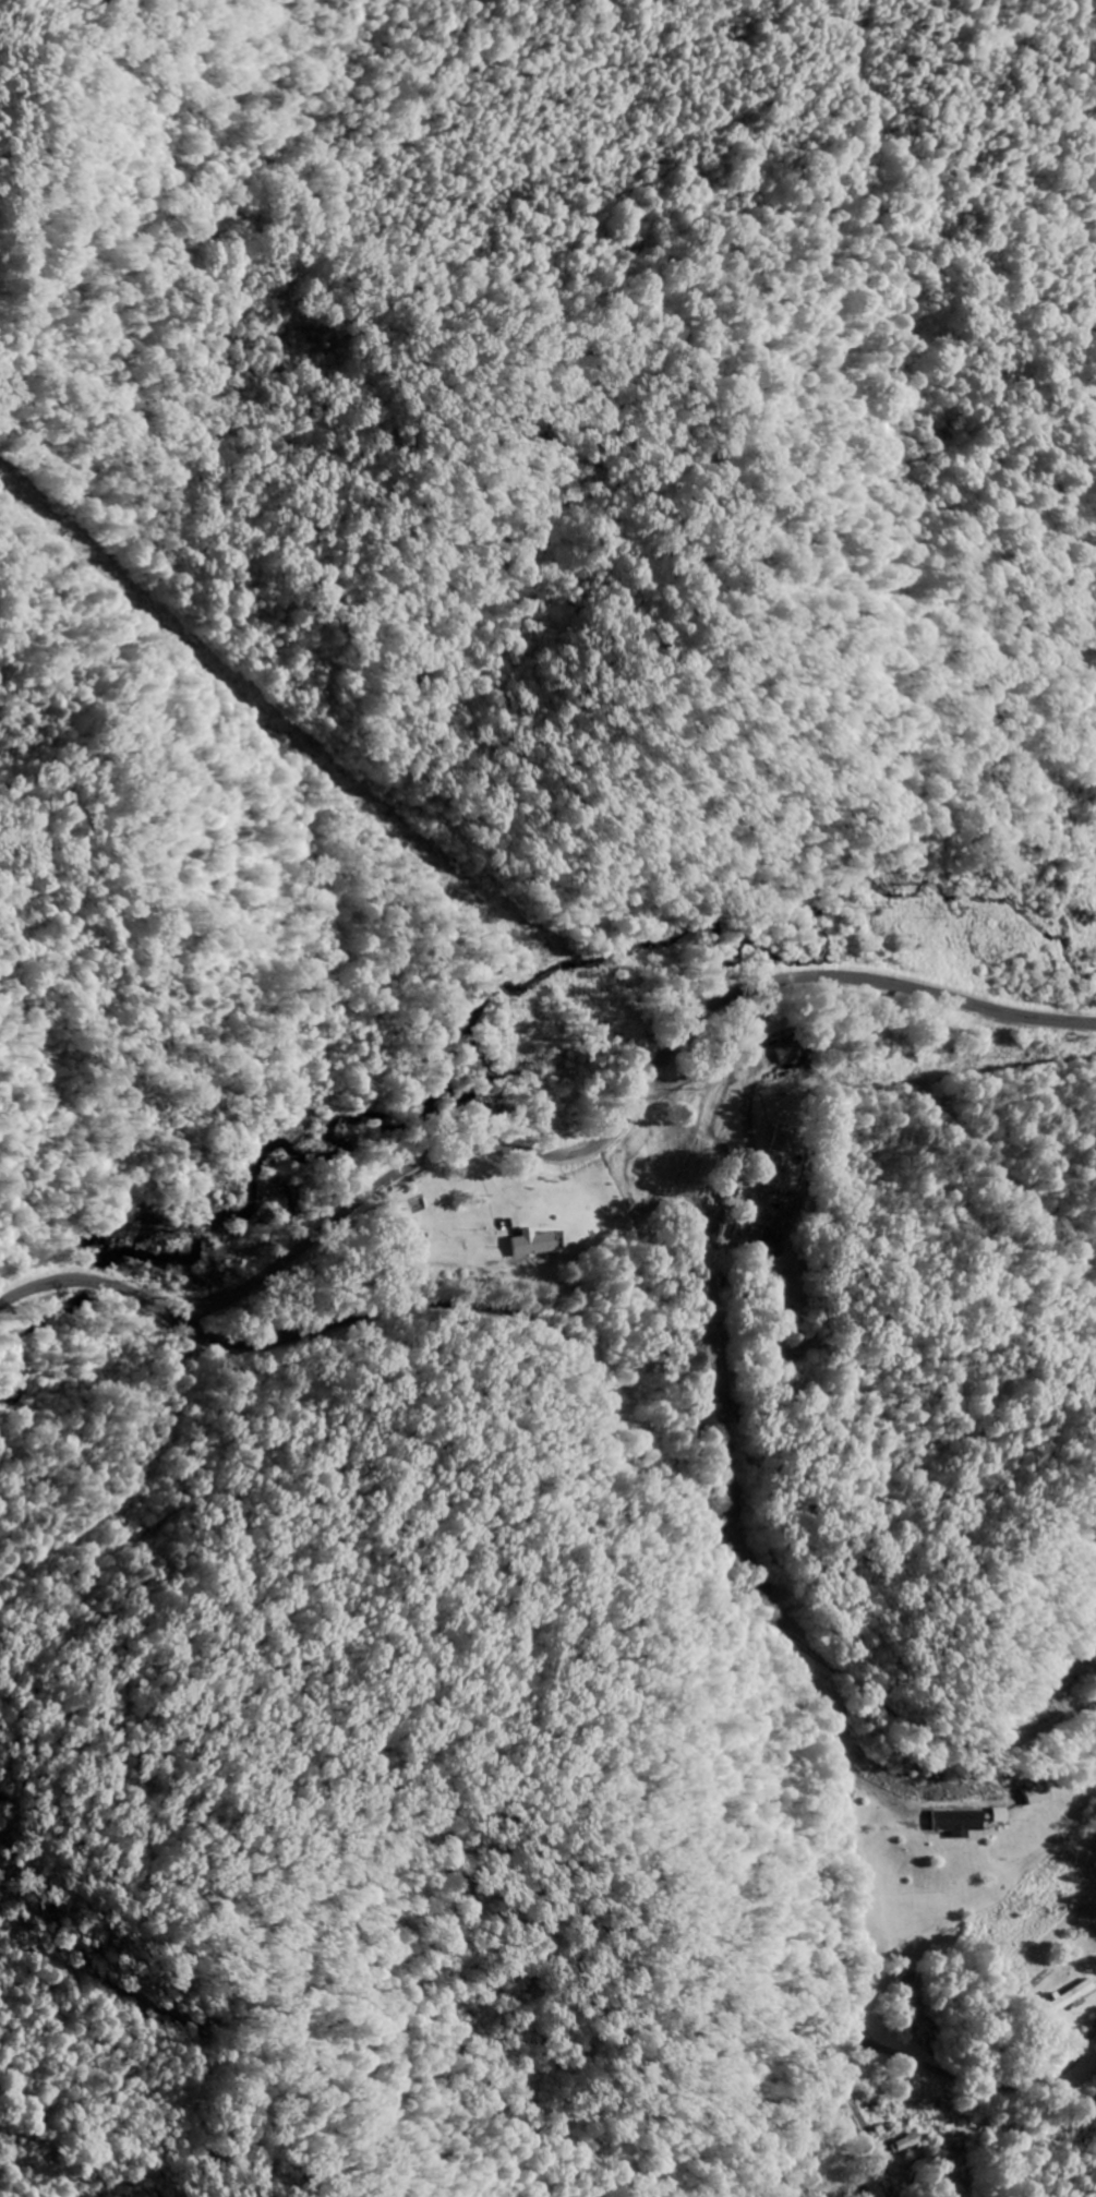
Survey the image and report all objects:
building: (788, 1052)
road: (969, 1137)
building: (780, 1146)
road: (556, 1157)
building: (457, 1240)
building: (532, 1241)
road: (724, 1551)
building: (1036, 1793)
building: (958, 1820)
building: (1068, 1995)
road: (979, 2081)
building: (905, 2142)

